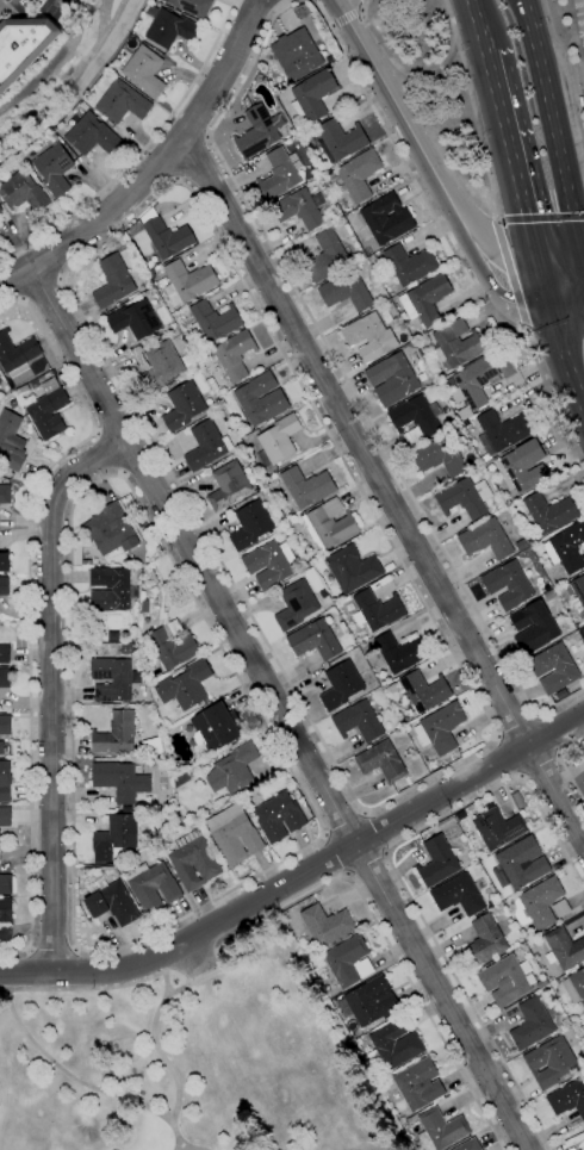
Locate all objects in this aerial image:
road: (4, 1)
road: (337, 1)
road: (341, 1)
road: (56, 6)
building: (192, 7)
road: (319, 13)
road: (346, 20)
parking lot: (579, 20)
road: (477, 25)
building: (170, 29)
road: (576, 37)
road: (570, 42)
building: (23, 46)
building: (297, 54)
road: (570, 66)
building: (144, 72)
road: (417, 74)
road: (579, 88)
building: (312, 97)
building: (246, 101)
building: (122, 102)
road: (394, 104)
road: (190, 125)
road: (553, 129)
building: (260, 131)
road: (583, 131)
building: (92, 135)
road: (480, 137)
building: (338, 141)
road: (141, 151)
road: (511, 157)
road: (194, 158)
road: (163, 162)
road: (155, 166)
building: (55, 168)
building: (278, 174)
building: (359, 175)
building: (23, 192)
building: (300, 209)
building: (0, 210)
road: (542, 217)
building: (386, 219)
building: (164, 235)
road: (491, 241)
road: (455, 255)
building: (327, 257)
traffic signals: (583, 259)
road: (46, 260)
road: (561, 262)
building: (410, 265)
traffic signals: (539, 266)
road: (485, 279)
road: (512, 280)
building: (113, 281)
building: (188, 281)
road: (6, 287)
road: (43, 288)
building: (346, 292)
road: (546, 294)
building: (425, 300)
building: (135, 318)
road: (569, 318)
building: (213, 321)
traffic signals: (553, 324)
building: (369, 337)
building: (454, 344)
building: (17, 354)
building: (235, 354)
building: (163, 365)
road: (567, 366)
building: (182, 379)
road: (347, 379)
building: (392, 379)
building: (0, 381)
building: (33, 384)
building: (474, 384)
building: (261, 399)
building: (184, 405)
building: (48, 408)
building: (416, 419)
road: (117, 423)
building: (501, 433)
building: (11, 441)
building: (278, 441)
building: (207, 446)
road: (106, 453)
building: (440, 458)
road: (141, 465)
building: (524, 465)
building: (229, 485)
building: (310, 485)
road: (383, 492)
building: (5, 493)
building: (464, 497)
building: (507, 501)
building: (549, 512)
building: (250, 524)
building: (329, 524)
building: (113, 529)
building: (485, 540)
building: (532, 541)
building: (521, 545)
building: (566, 548)
road: (167, 557)
building: (316, 557)
building: (4, 561)
building: (269, 562)
building: (352, 567)
building: (508, 585)
building: (4, 586)
building: (112, 590)
building: (577, 592)
building: (548, 595)
road: (30, 603)
building: (296, 604)
building: (144, 607)
building: (377, 610)
building: (533, 627)
building: (129, 638)
building: (315, 640)
building: (173, 645)
building: (128, 648)
building: (400, 651)
building: (4, 653)
building: (554, 667)
building: (5, 678)
building: (112, 678)
building: (185, 685)
building: (341, 685)
road: (50, 686)
building: (424, 690)
road: (280, 708)
building: (359, 721)
building: (5, 725)
road: (515, 726)
building: (217, 727)
building: (440, 727)
building: (116, 734)
road: (551, 734)
building: (153, 747)
building: (4, 748)
building: (583, 752)
building: (451, 758)
road: (502, 758)
building: (381, 760)
road: (566, 766)
road: (543, 767)
building: (234, 769)
building: (120, 779)
building: (5, 781)
road: (377, 807)
building: (5, 816)
building: (279, 816)
road: (343, 821)
building: (498, 827)
road: (378, 831)
building: (235, 834)
building: (114, 838)
building: (0, 839)
road: (334, 853)
building: (194, 860)
building: (437, 860)
building: (520, 863)
road: (367, 864)
road: (300, 874)
road: (403, 881)
building: (6, 884)
building: (153, 885)
road: (307, 893)
building: (458, 895)
building: (538, 903)
building: (111, 905)
building: (560, 908)
building: (6, 919)
building: (325, 925)
building: (485, 940)
road: (51, 946)
building: (565, 947)
building: (348, 962)
parking lot: (199, 966)
road: (73, 968)
road: (13, 970)
building: (507, 980)
building: (574, 986)
road: (176, 990)
building: (369, 1001)
building: (532, 1022)
building: (393, 1045)
road: (166, 1058)
park: (191, 1058)
building: (551, 1061)
road: (69, 1076)
building: (417, 1084)
building: (569, 1098)
building: (583, 1127)
building: (441, 1129)
building: (468, 1145)
road: (191, 1148)

